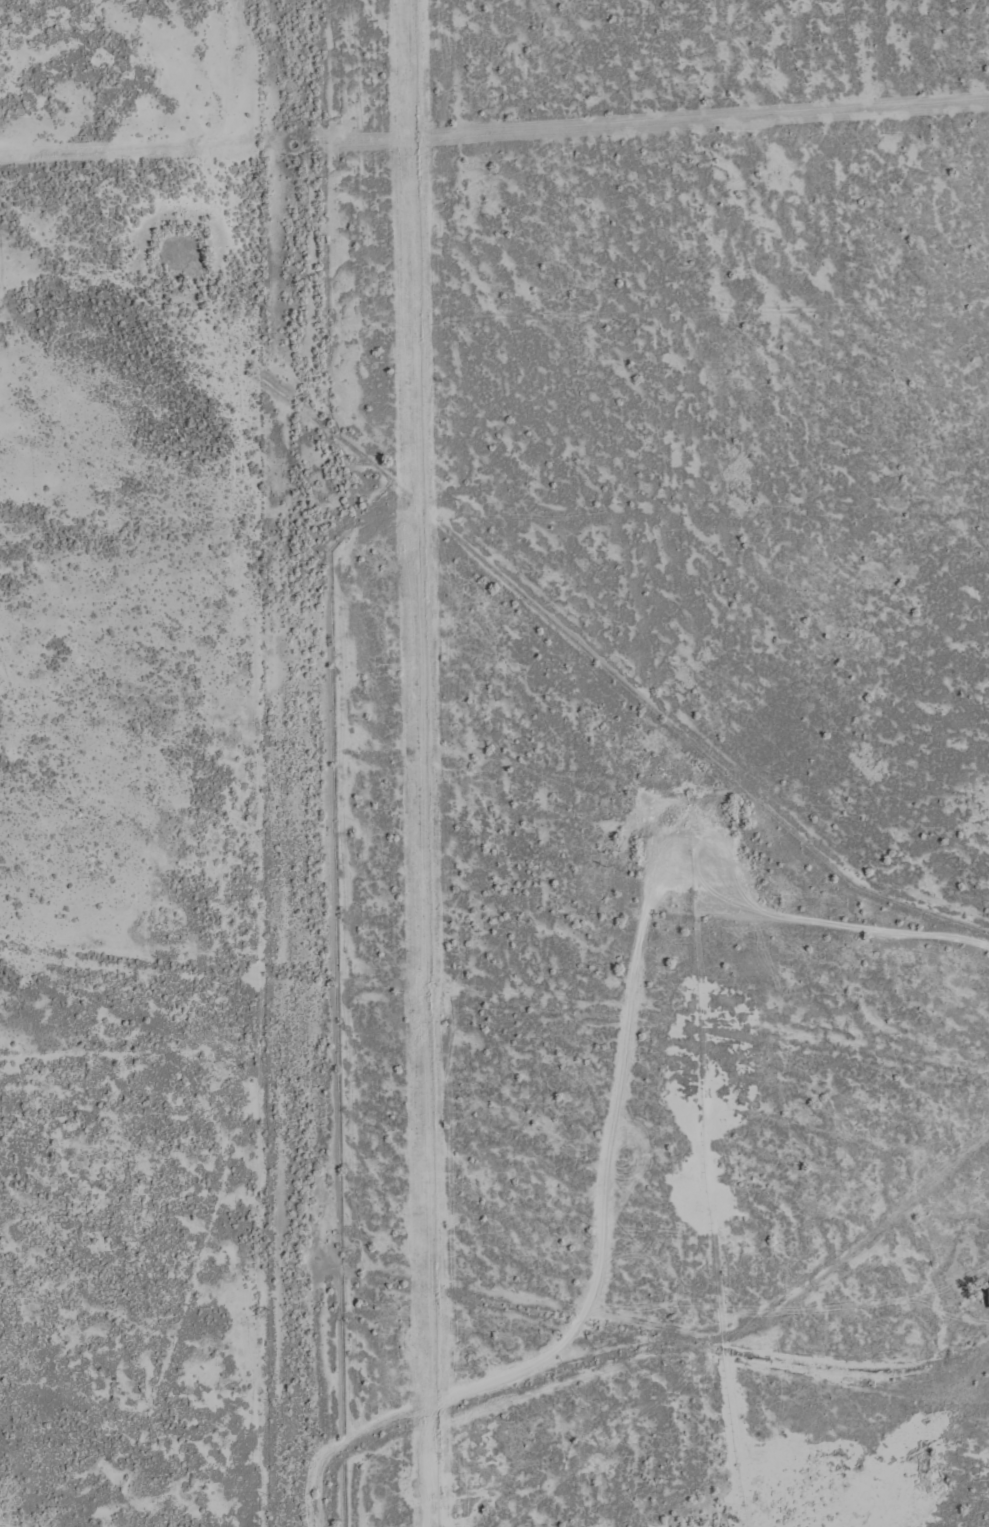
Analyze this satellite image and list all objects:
road: (542, 1297)

